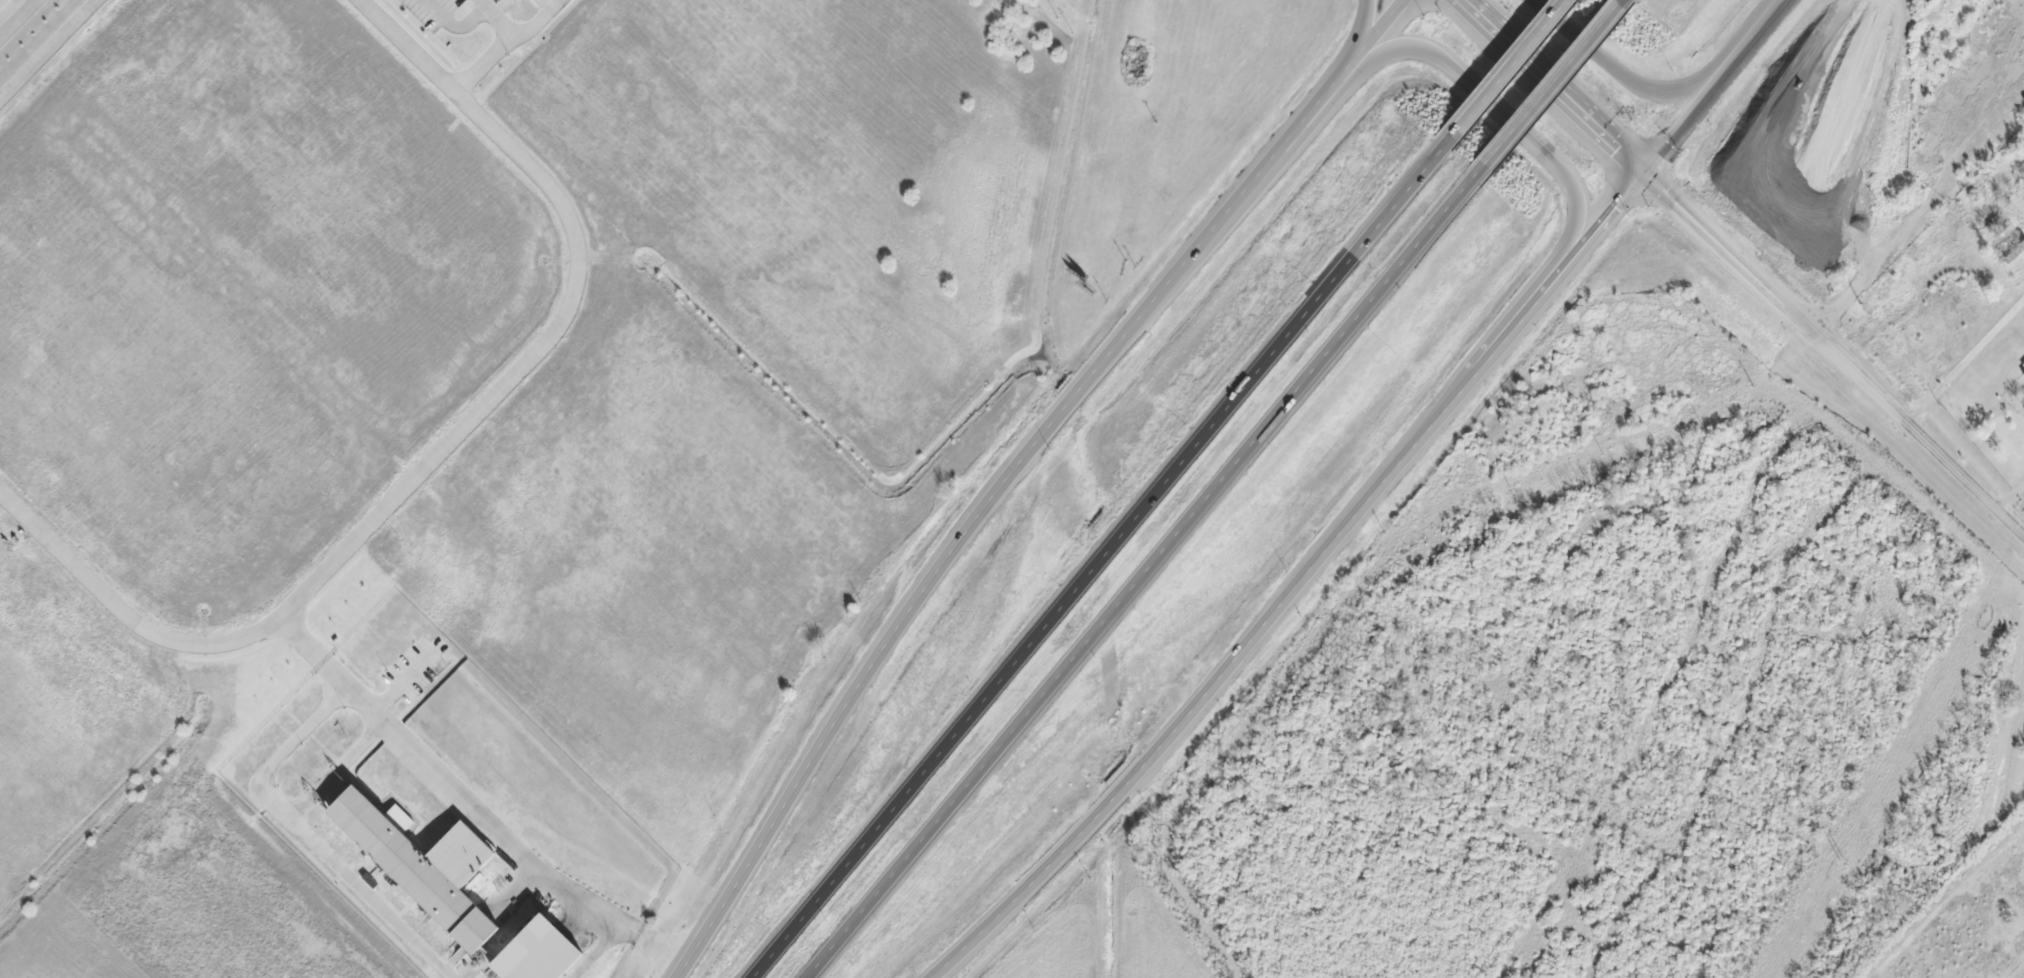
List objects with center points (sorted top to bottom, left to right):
building: (525, 0)
road: (1620, 2)
road: (16, 17)
road: (1363, 37)
road: (503, 42)
road: (48, 49)
road: (1509, 65)
road: (1623, 68)
road: (1553, 84)
road: (1549, 85)
road: (1497, 111)
road: (1832, 350)
road: (1965, 358)
building: (2022, 374)
building: (2023, 411)
road: (442, 445)
road: (1017, 471)
road: (1367, 499)
road: (1104, 554)
road: (1147, 571)
road: (466, 805)
power tower: (1842, 863)
building: (412, 866)
building: (537, 952)

